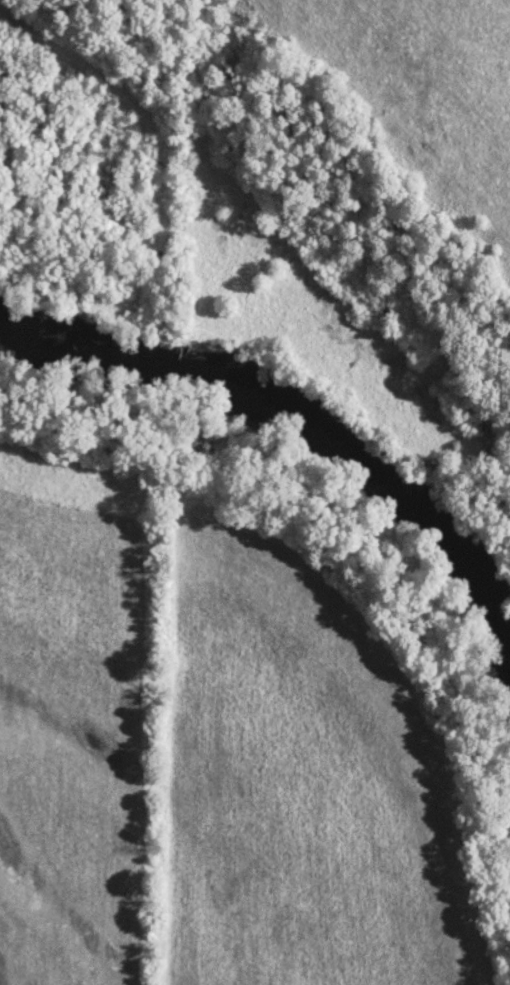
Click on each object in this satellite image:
river: (300, 424)

